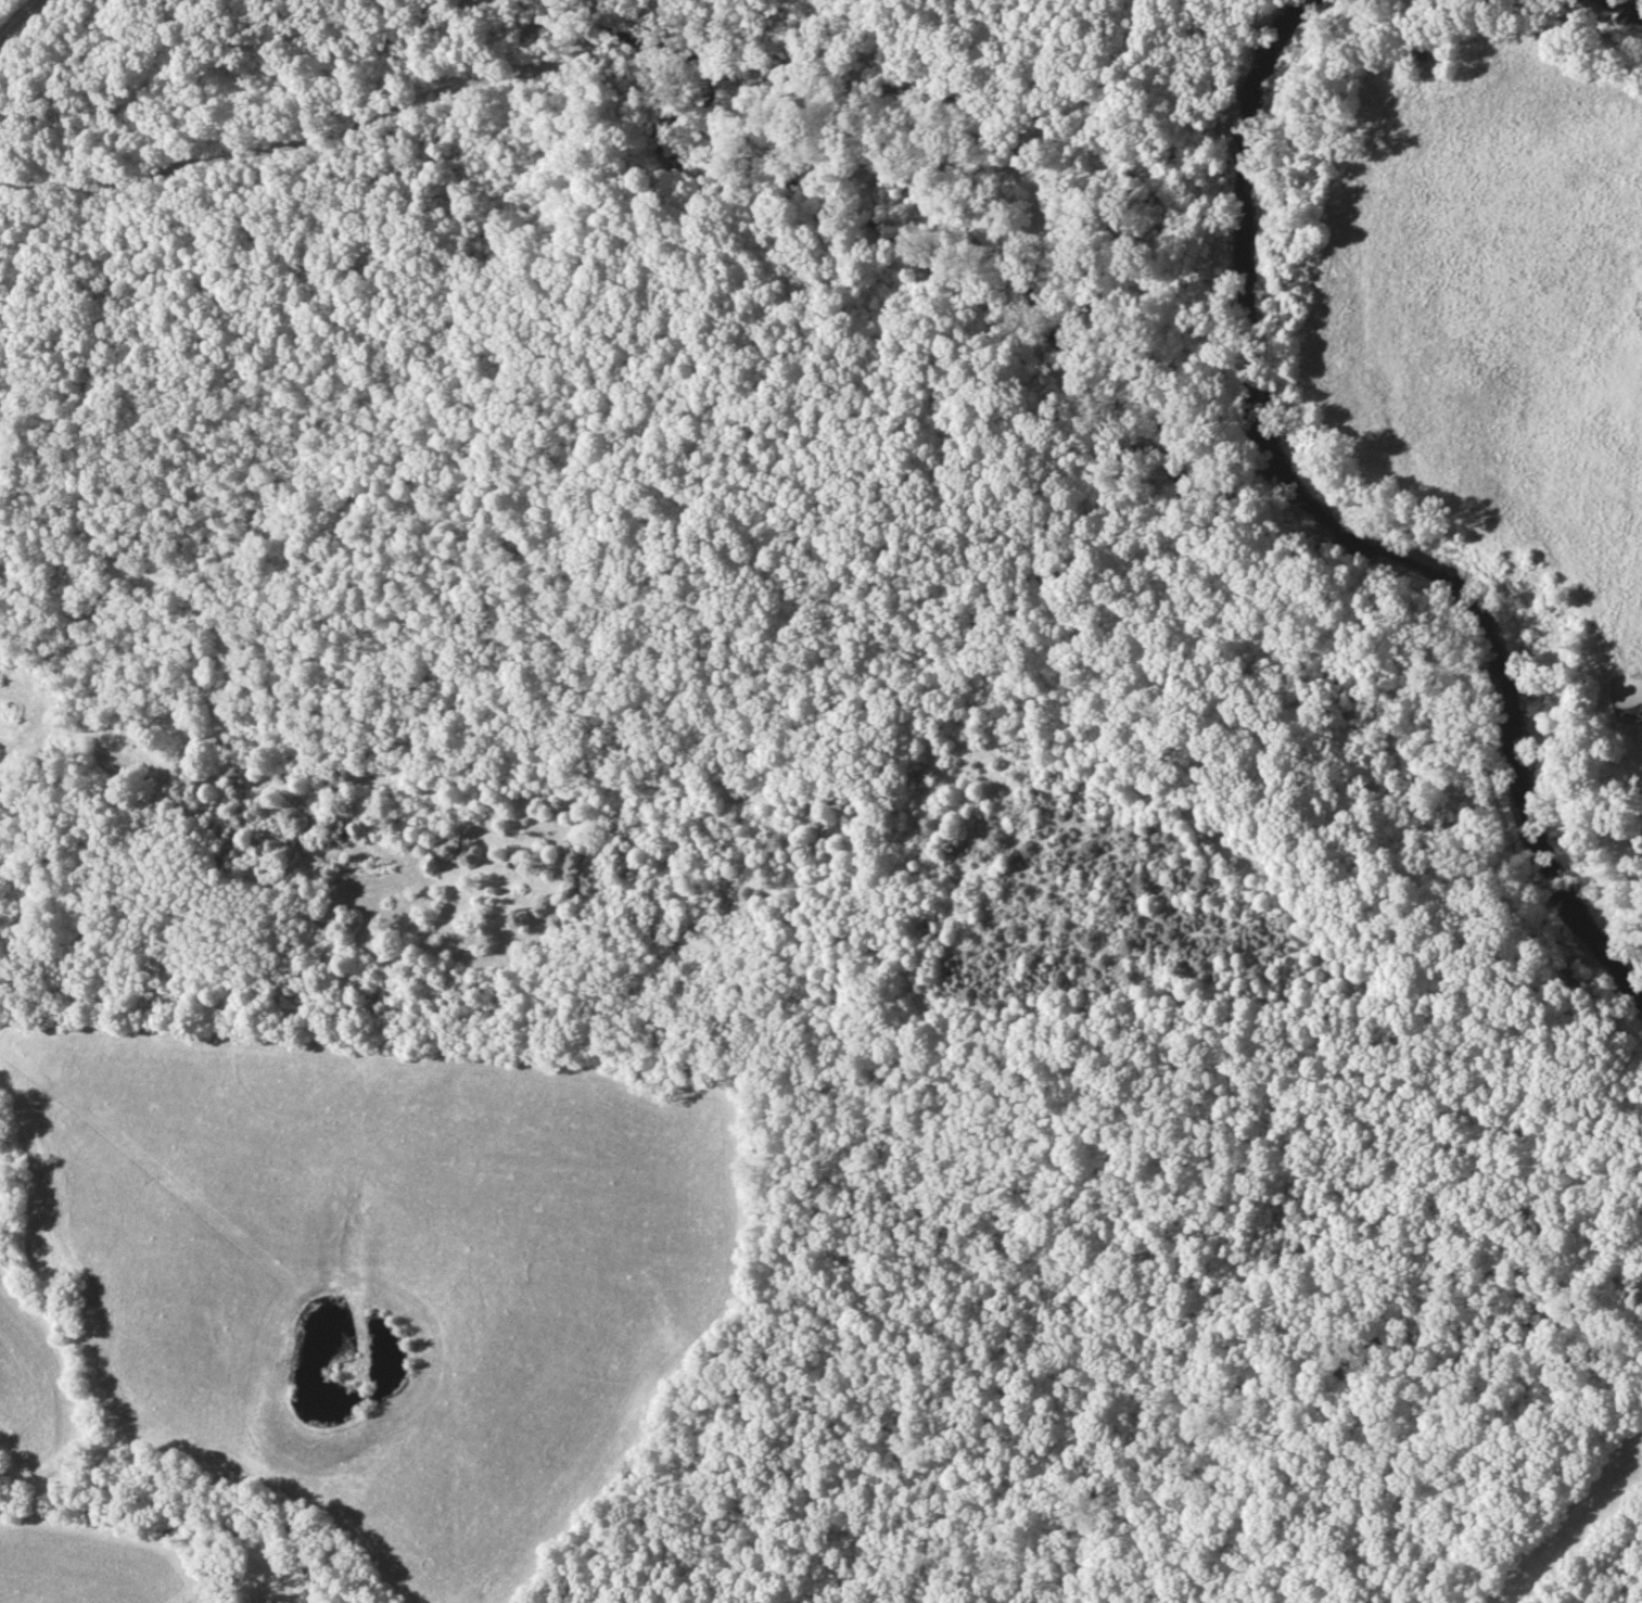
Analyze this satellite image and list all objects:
river: (1621, 8)
river: (1338, 535)

